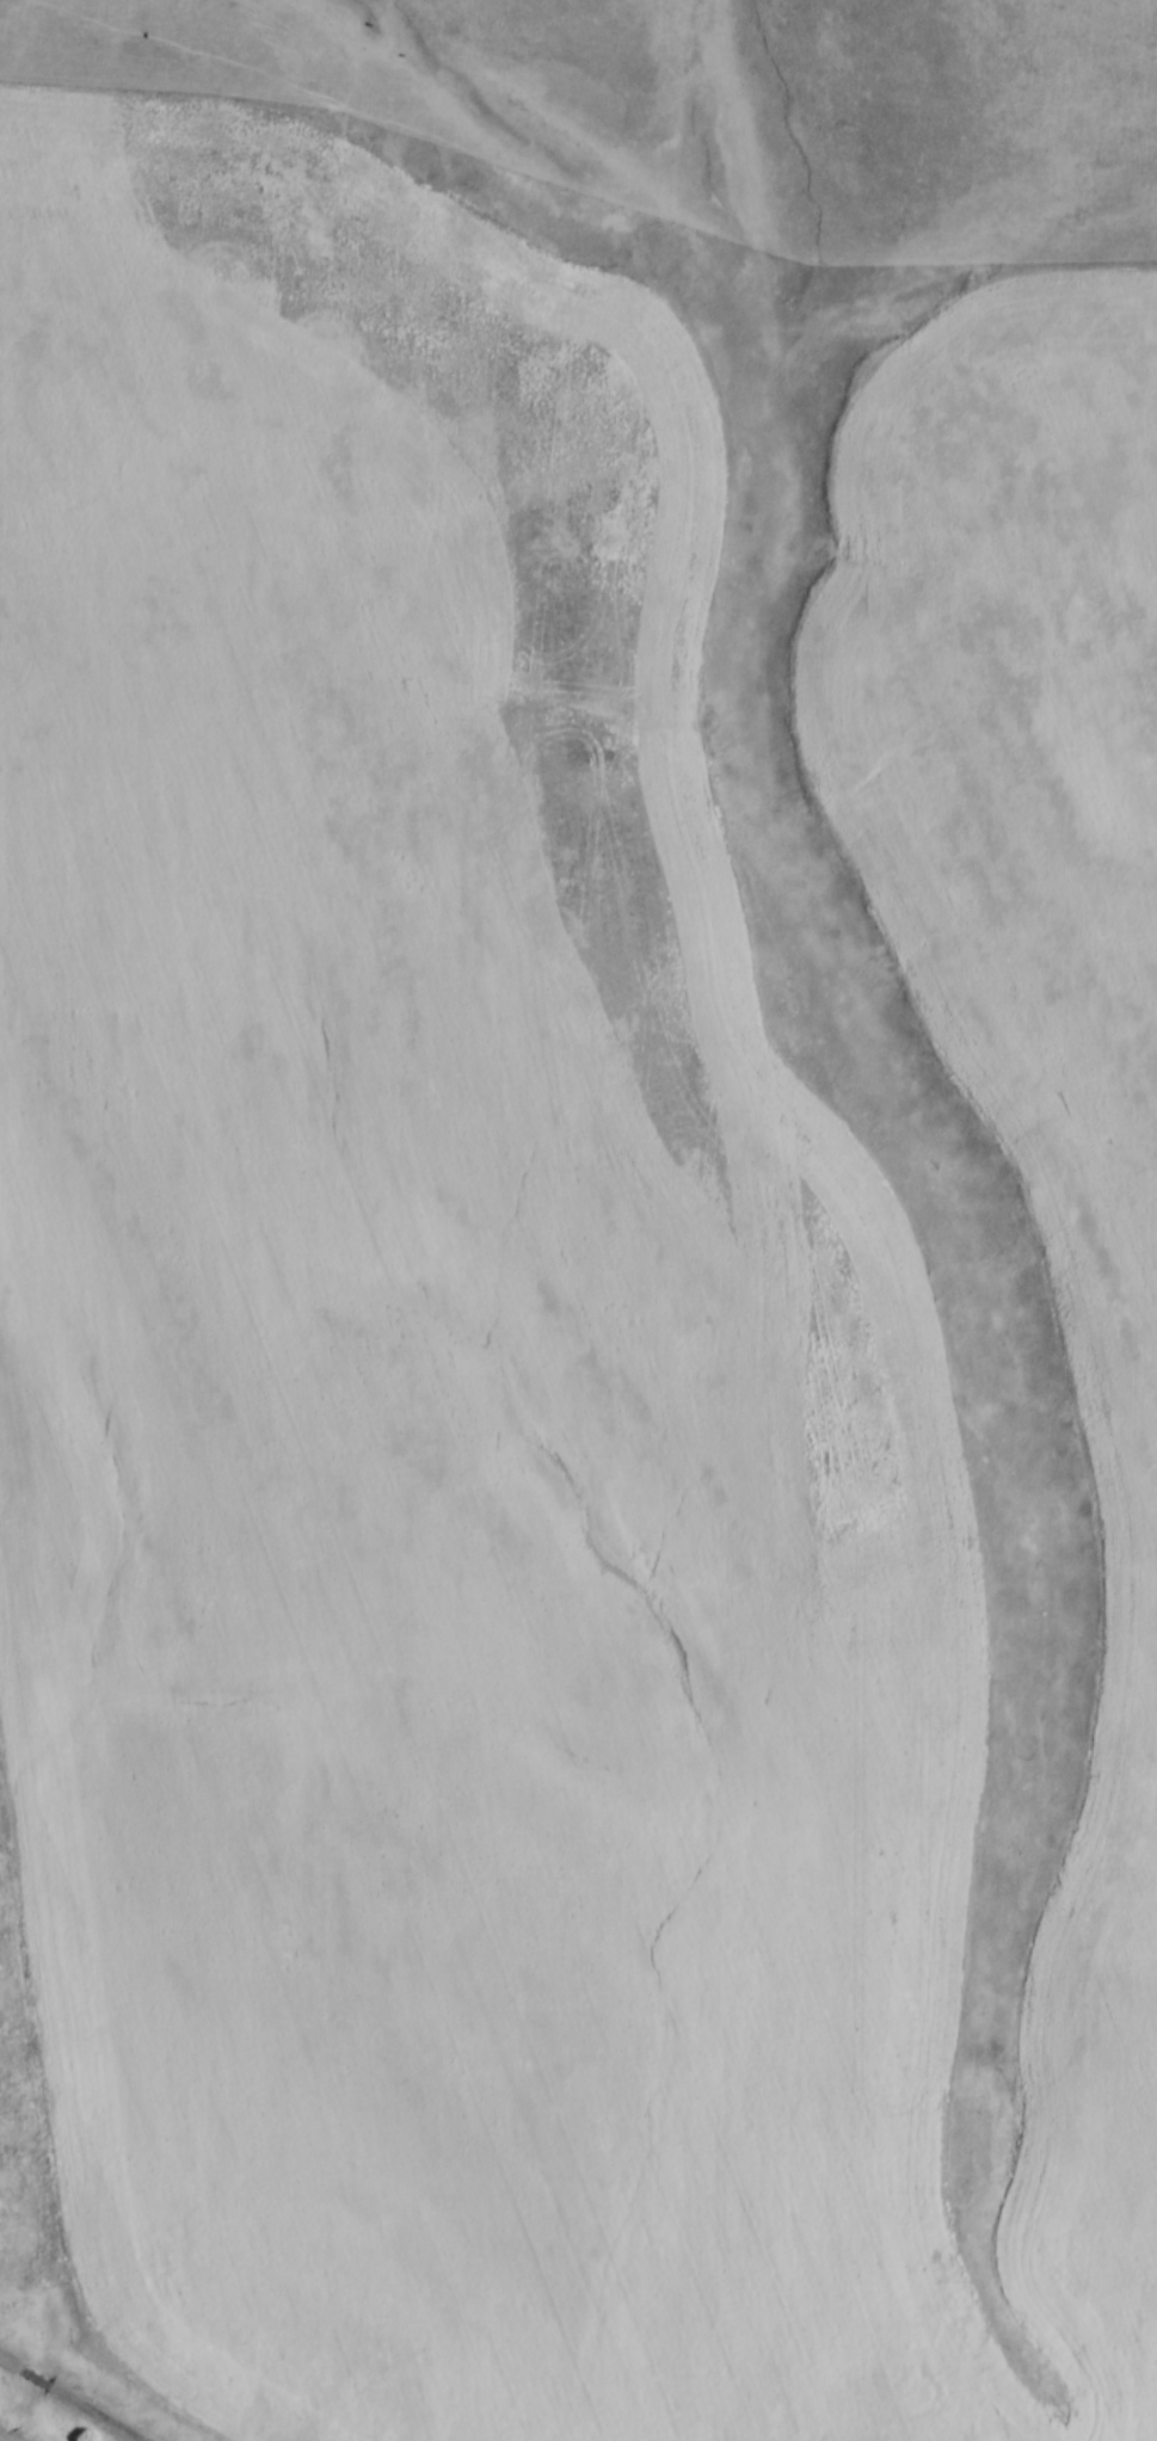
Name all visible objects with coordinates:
road: (8, 2357)
road: (30, 2371)
road: (96, 2410)

